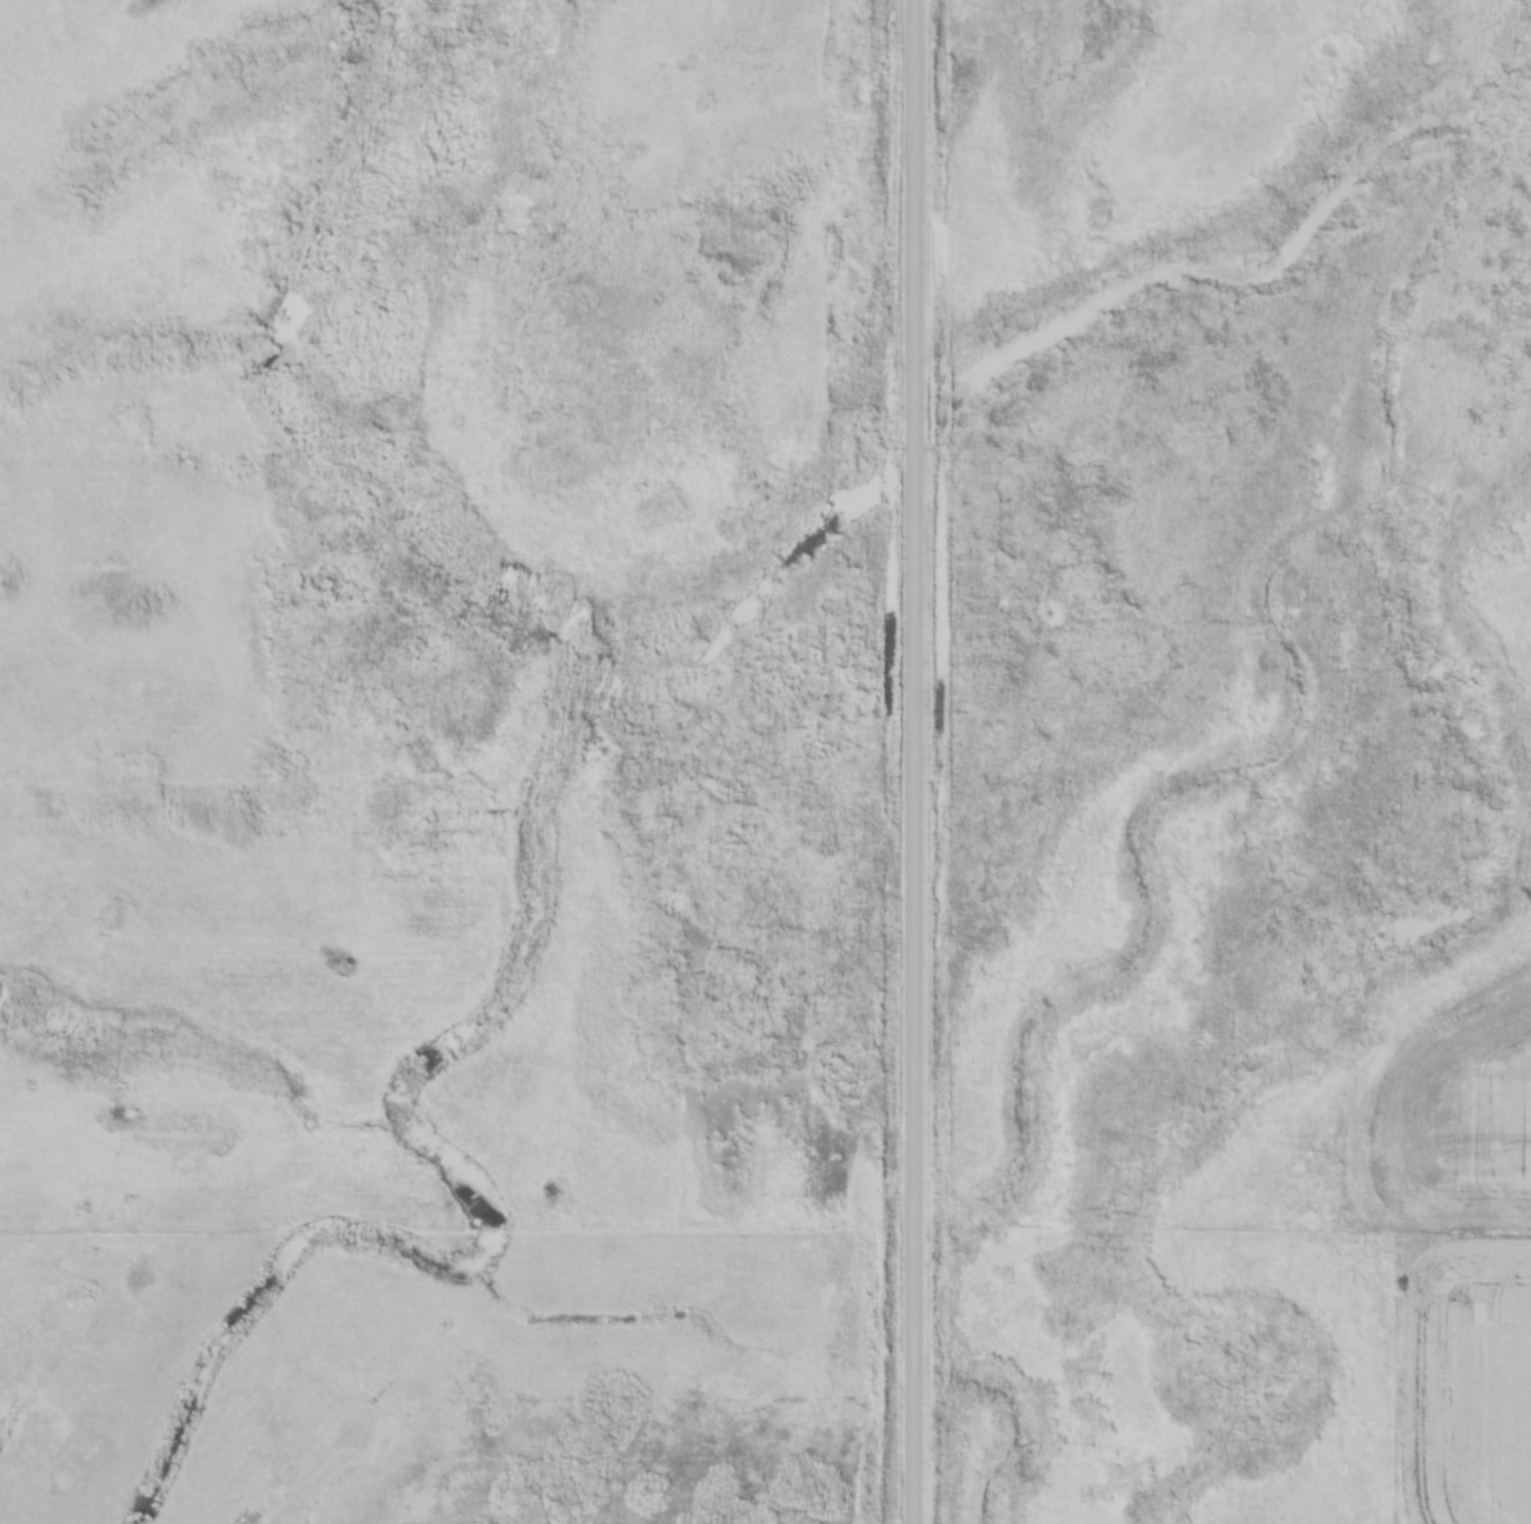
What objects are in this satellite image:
road: (916, 761)

